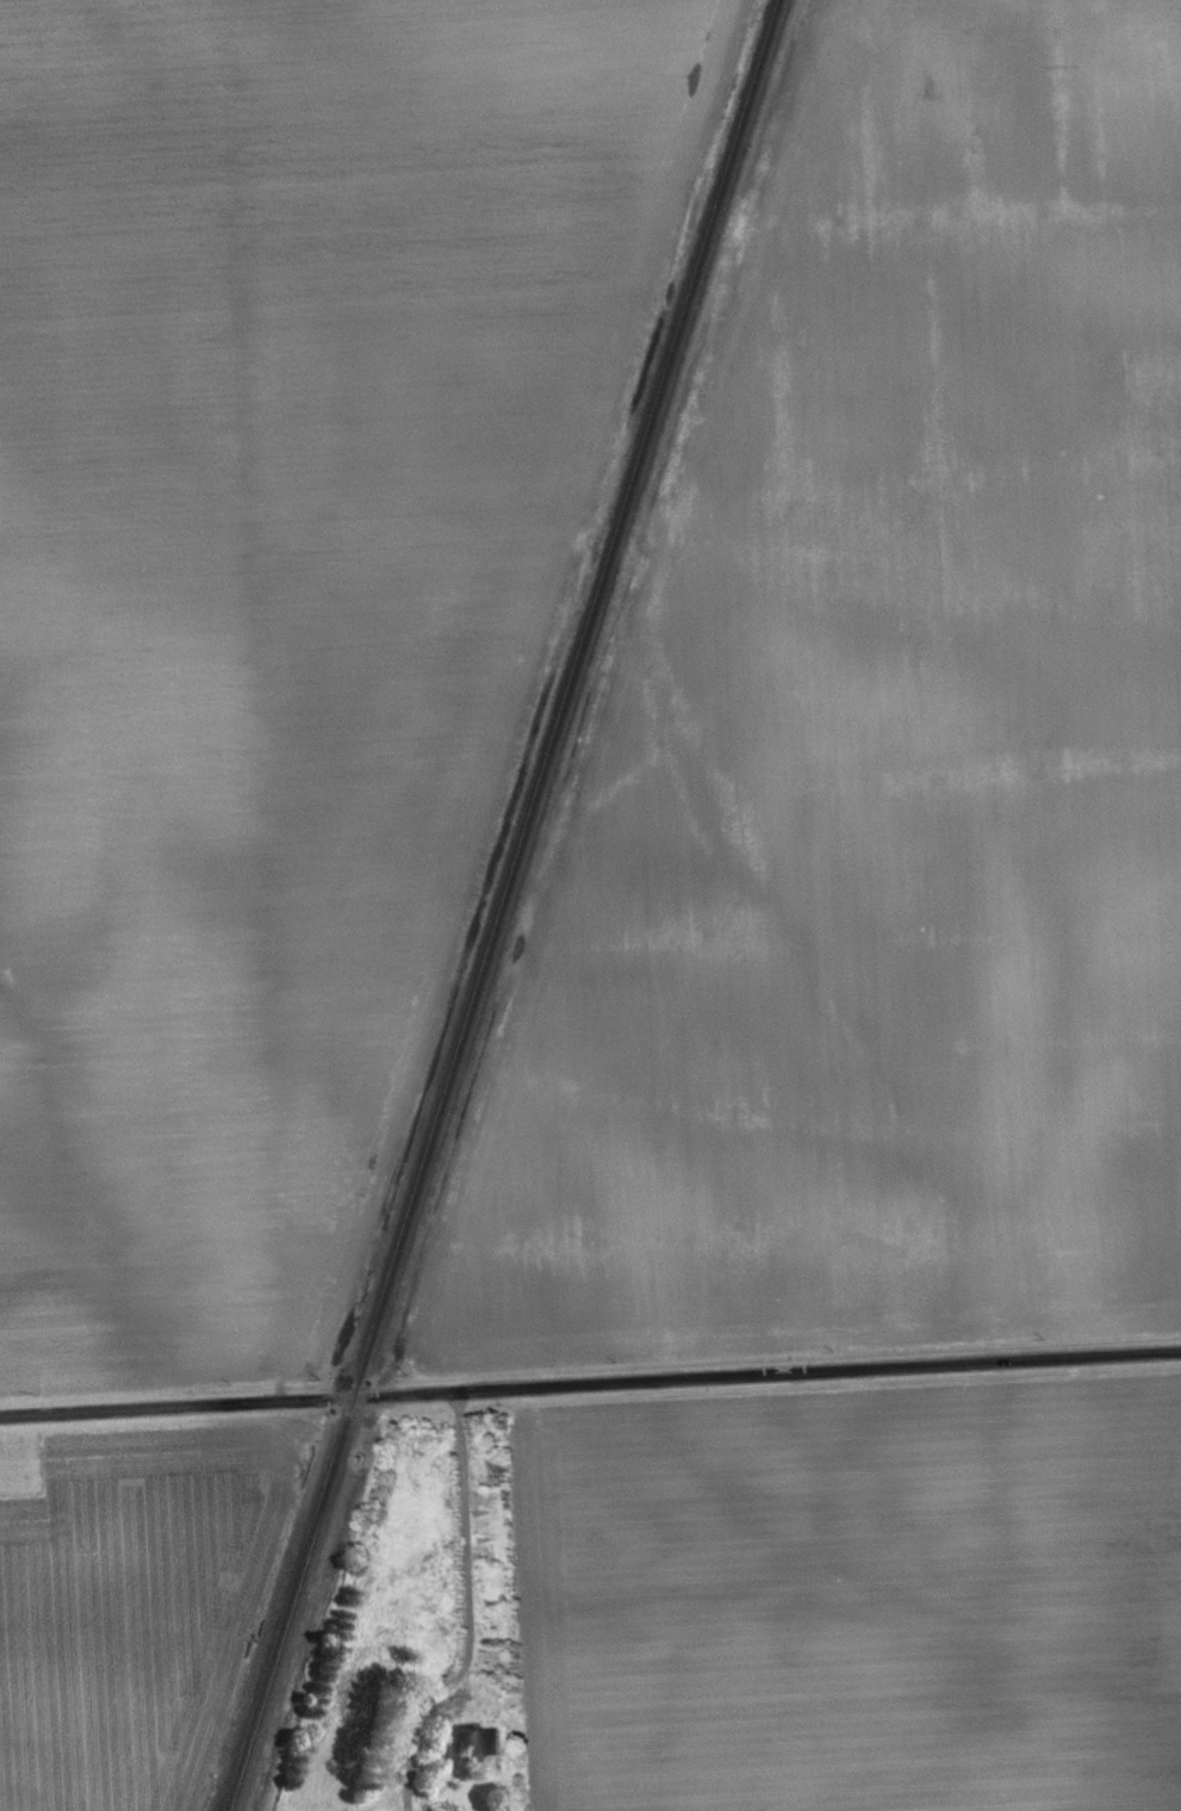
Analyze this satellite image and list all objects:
railway: (504, 905)
road: (590, 1390)
road: (473, 1590)
building: (481, 1753)

